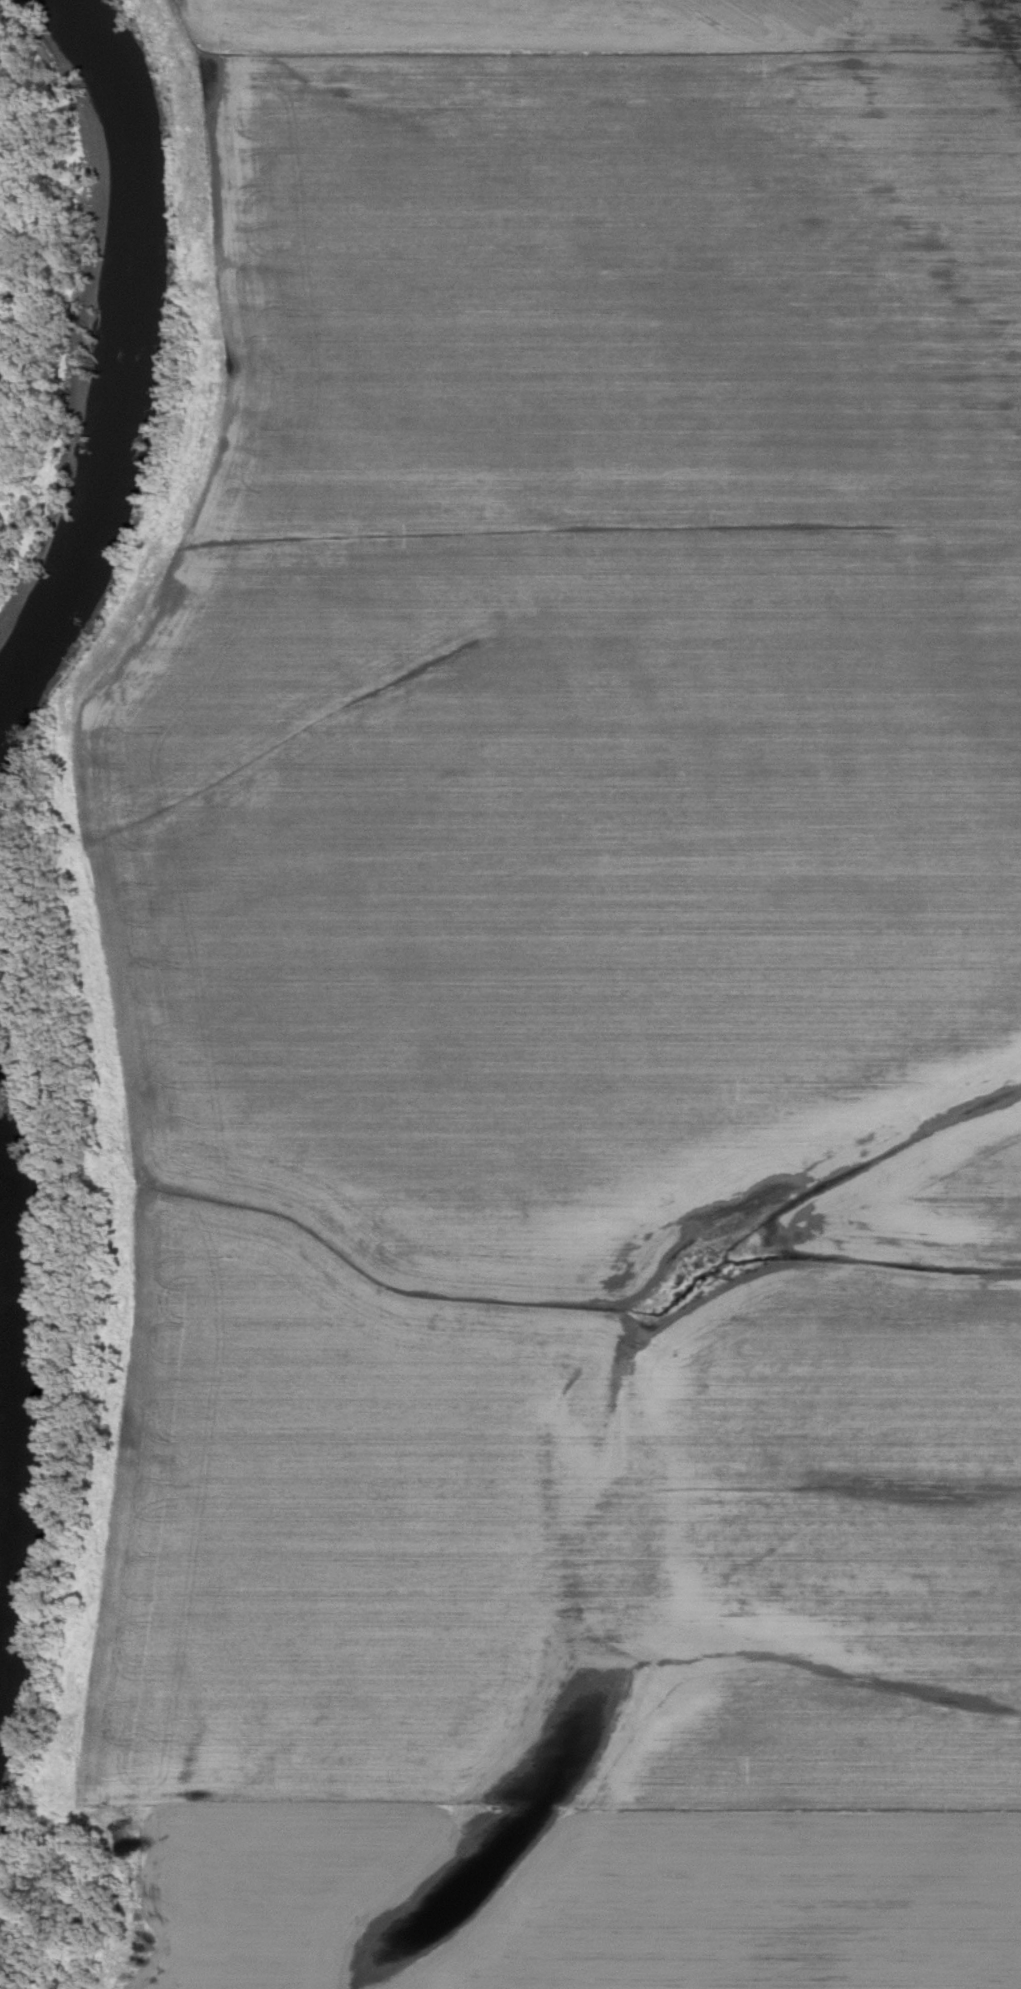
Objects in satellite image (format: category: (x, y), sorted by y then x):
river: (118, 331)
river: (6, 1391)

